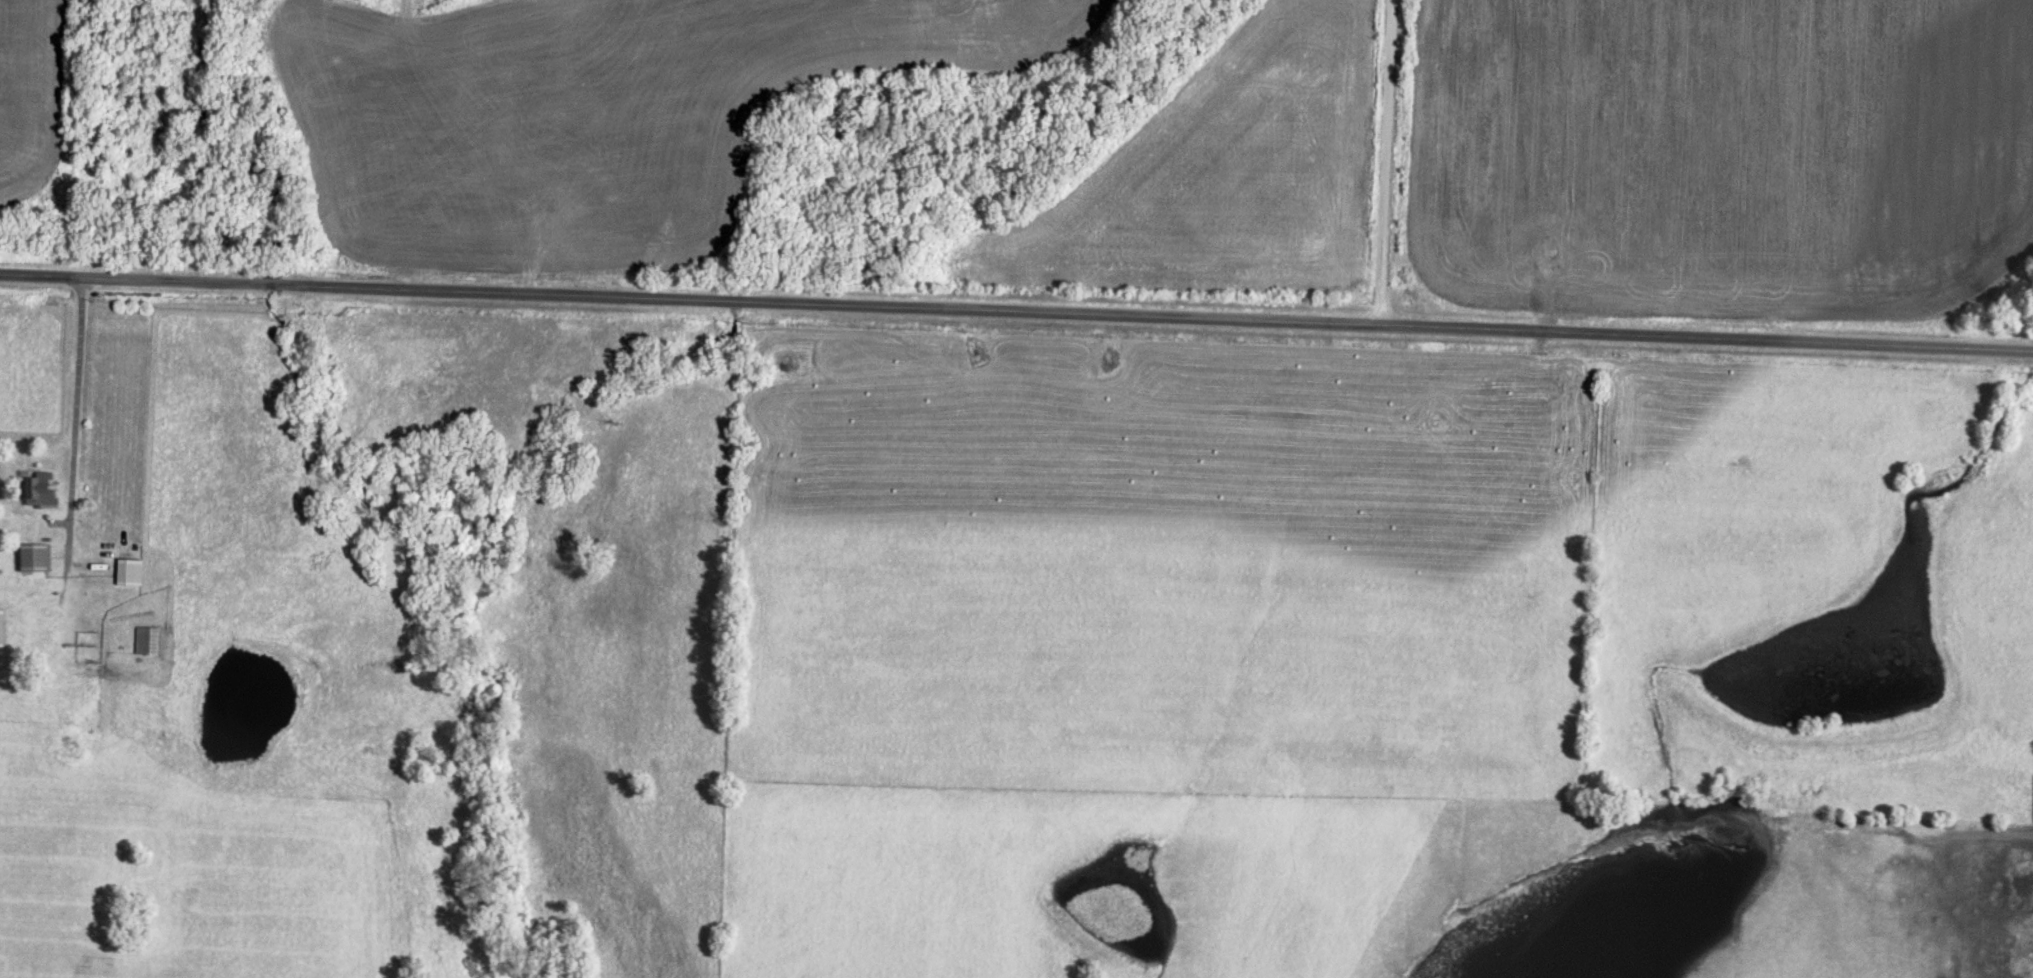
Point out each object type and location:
road: (1384, 164)
road: (1016, 314)
road: (76, 439)
building: (31, 554)
building: (0, 629)

